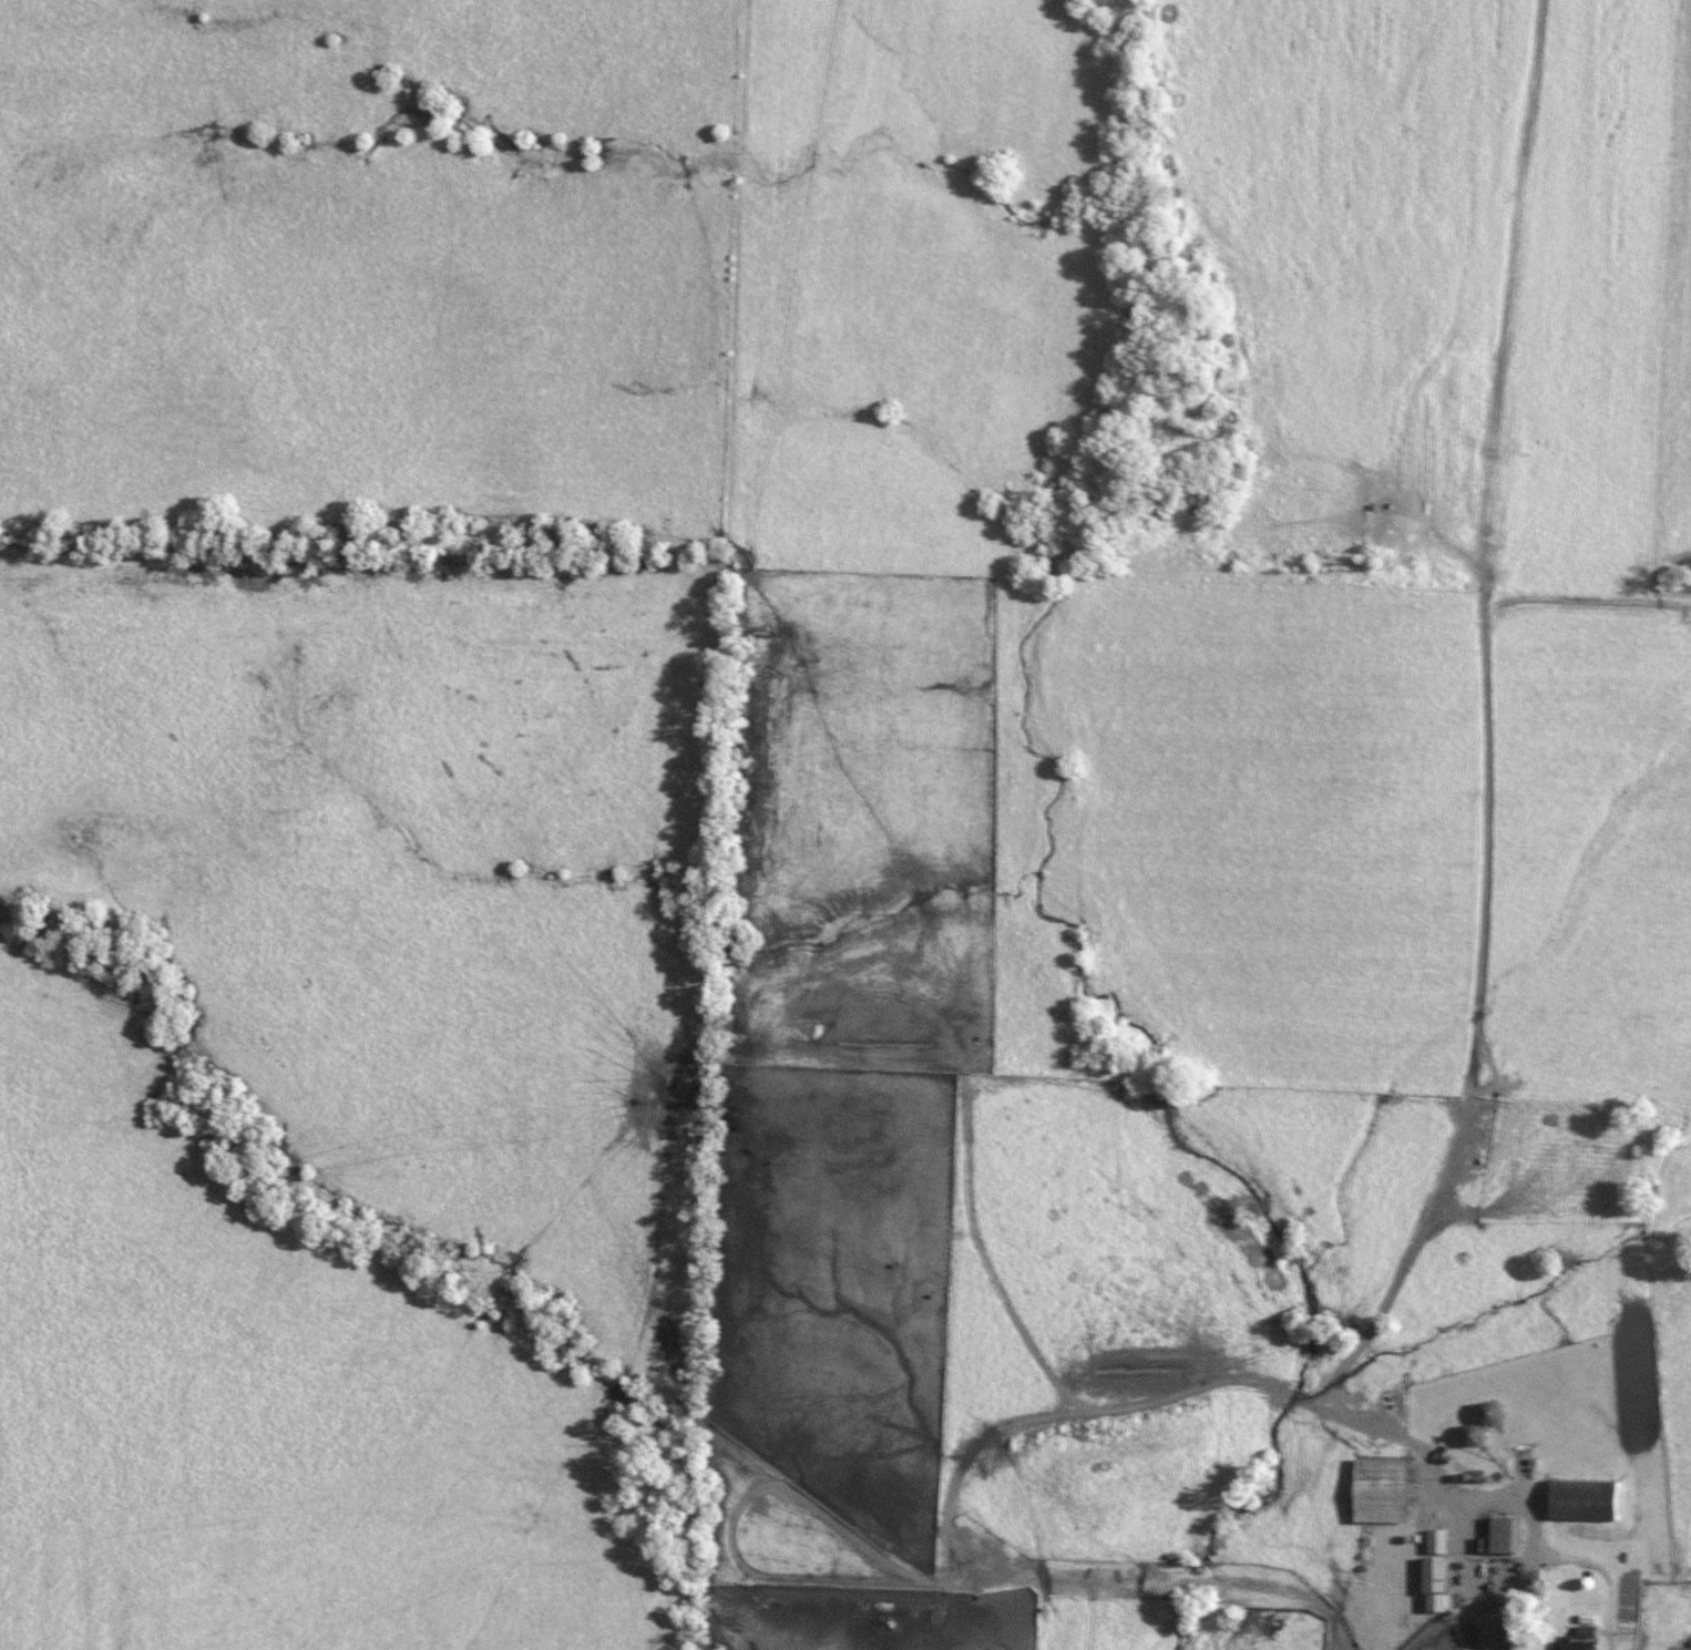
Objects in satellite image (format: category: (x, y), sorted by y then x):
building: (1486, 1413)
building: (1469, 1435)
building: (1377, 1490)
building: (1580, 1499)
building: (1500, 1536)
building: (1433, 1541)
road: (1451, 1544)
building: (1431, 1585)
building: (1575, 1641)
road: (1601, 1646)

